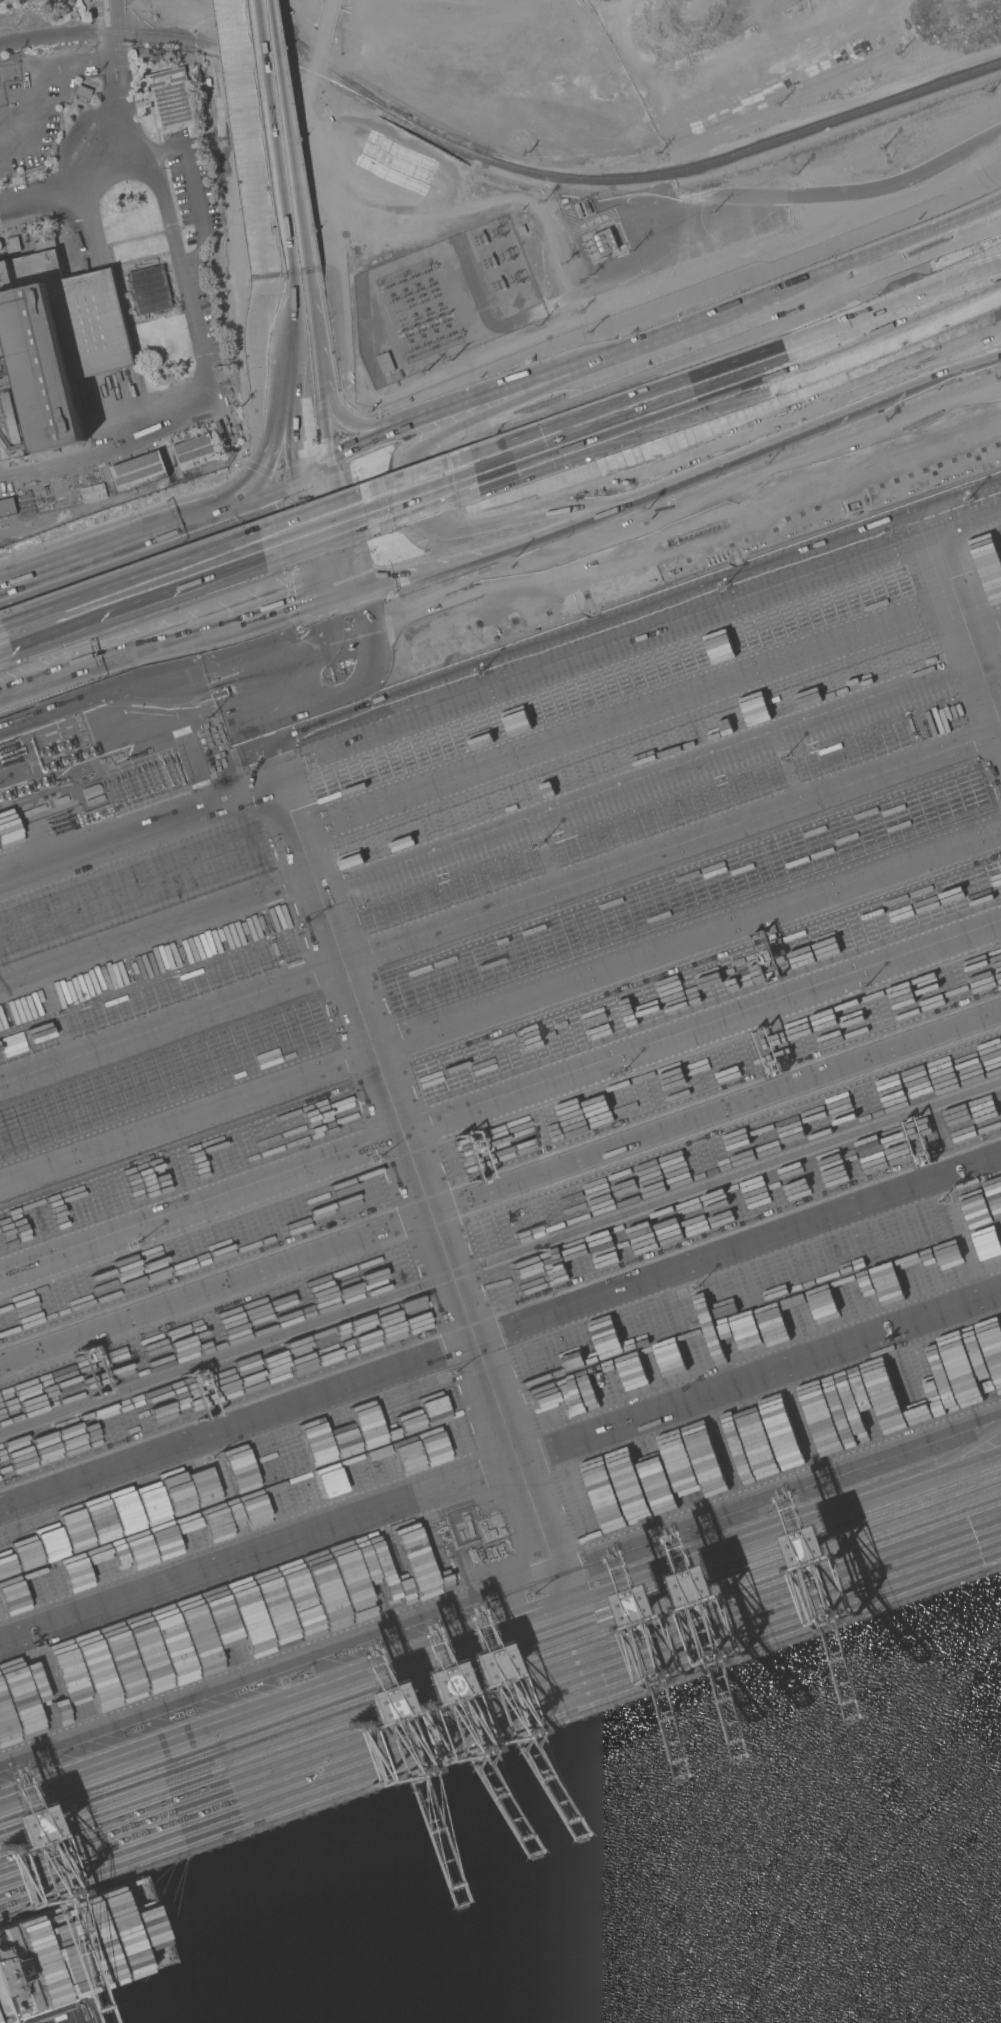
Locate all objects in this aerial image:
road: (107, 16)
road: (101, 17)
railway: (208, 42)
road: (112, 54)
railway: (324, 67)
building: (84, 92)
building: (170, 97)
road: (116, 122)
road: (285, 136)
road: (252, 139)
railway: (704, 165)
road: (77, 178)
road: (195, 199)
road: (960, 220)
road: (960, 227)
building: (604, 241)
building: (12, 244)
building: (149, 290)
road: (776, 297)
power substation: (444, 301)
road: (892, 303)
building: (60, 338)
road: (883, 338)
building: (385, 363)
road: (315, 369)
road: (283, 378)
road: (203, 383)
road: (626, 403)
road: (418, 407)
road: (479, 408)
road: (273, 409)
road: (841, 411)
building: (9, 429)
road: (619, 432)
building: (194, 453)
traffic signals: (326, 465)
building: (139, 471)
road: (310, 471)
traffic signals: (295, 477)
building: (92, 492)
road: (251, 495)
road: (364, 495)
road: (405, 502)
building: (7, 507)
road: (369, 521)
road: (685, 521)
road: (341, 527)
road: (518, 532)
road: (309, 539)
road: (104, 550)
road: (129, 578)
traffic signals: (356, 590)
road: (339, 596)
traffic signals: (323, 602)
road: (137, 605)
road: (1, 624)
road: (968, 636)
road: (160, 645)
road: (5, 652)
road: (182, 674)
road: (500, 698)
road: (227, 709)
road: (500, 807)
road: (500, 909)
road: (500, 1012)
road: (500, 1104)
road: (415, 1181)
road: (500, 1184)
road: (500, 1333)
road: (500, 1472)
road: (500, 1604)

